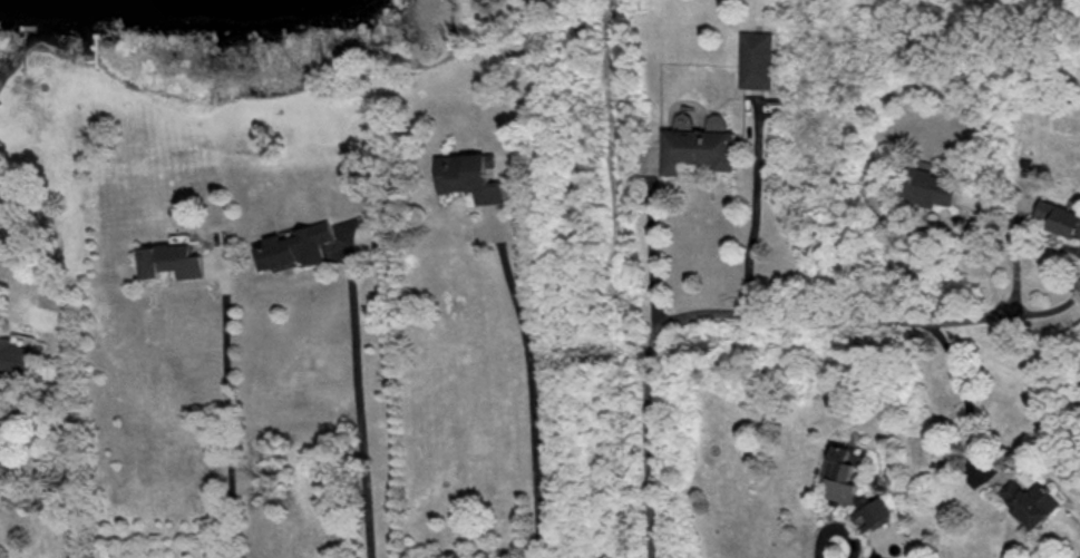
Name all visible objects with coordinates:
building: (757, 61)
building: (694, 150)
building: (468, 178)
building: (928, 188)
road: (755, 209)
building: (1057, 219)
road: (654, 245)
building: (291, 248)
road: (1016, 309)
road: (684, 313)
road: (965, 392)
road: (533, 393)
road: (361, 400)
road: (228, 409)
building: (1034, 502)
road: (831, 528)

